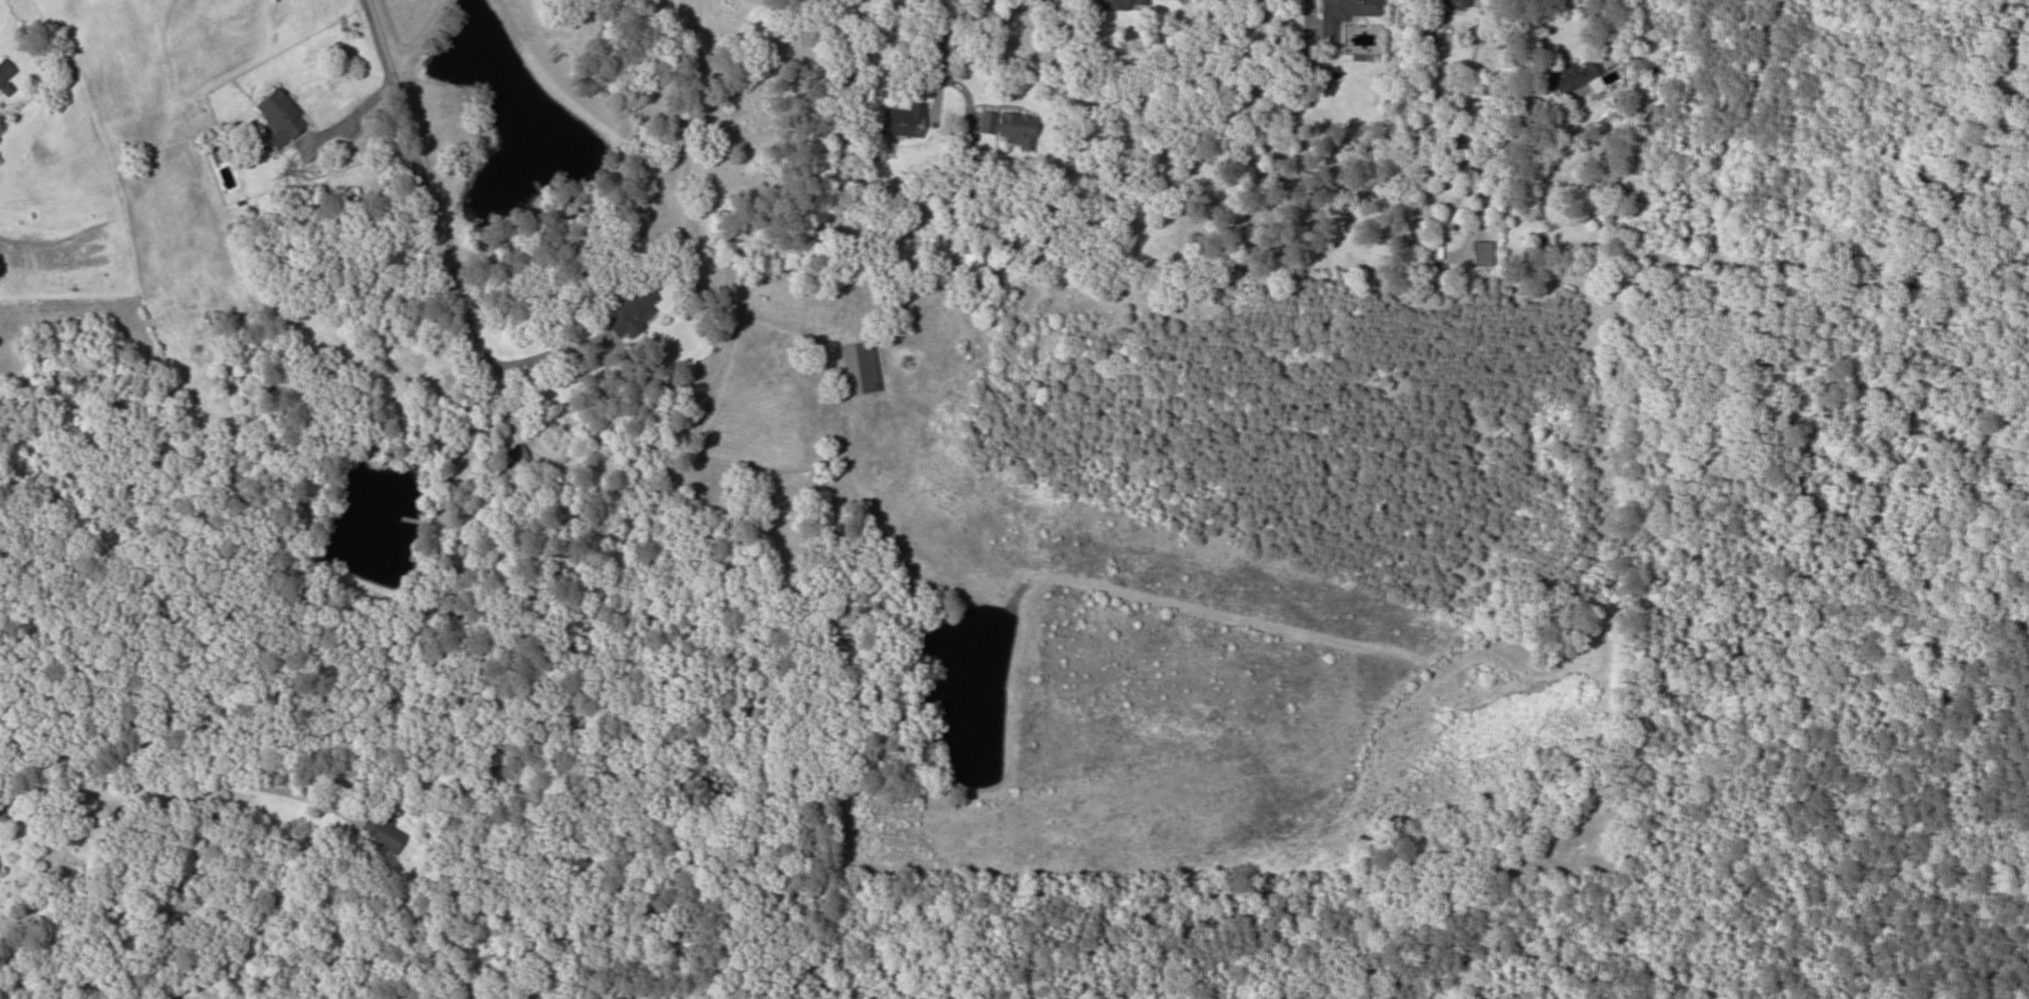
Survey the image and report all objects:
building: (1119, 4)
building: (1450, 5)
building: (1343, 15)
building: (4, 75)
building: (1574, 77)
building: (279, 118)
building: (903, 120)
building: (1007, 126)
building: (1481, 253)
building: (631, 307)
building: (859, 367)
building: (514, 456)
building: (380, 833)
building: (167, 994)
building: (802, 998)

